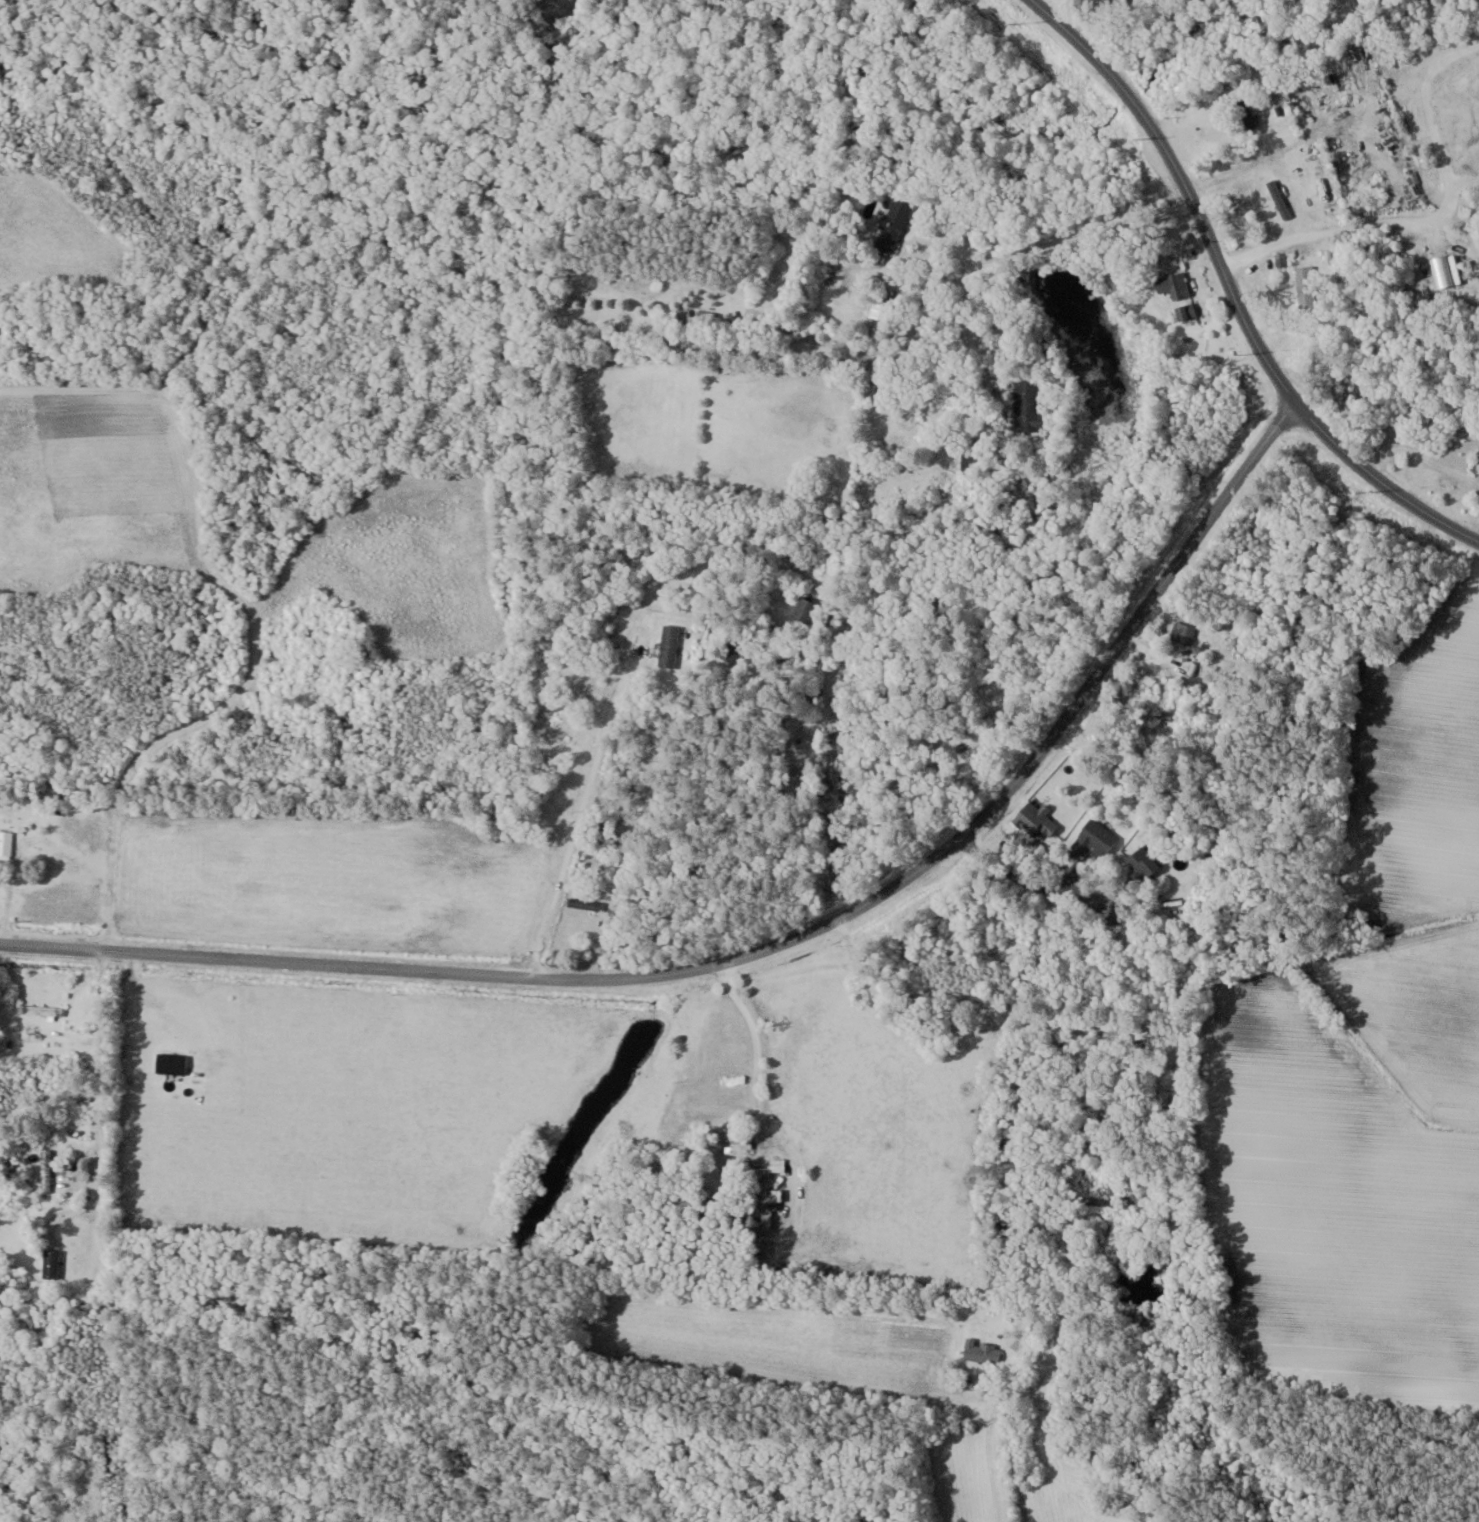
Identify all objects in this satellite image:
road: (1240, 166)
road: (1394, 217)
building: (893, 227)
road: (997, 240)
building: (1174, 286)
building: (1307, 290)
road: (1232, 292)
building: (1186, 312)
building: (683, 313)
building: (1027, 406)
building: (969, 459)
road: (1421, 459)
building: (1478, 461)
road: (1477, 538)
building: (807, 610)
building: (1183, 632)
building: (669, 644)
building: (732, 650)
road: (580, 809)
building: (1036, 821)
building: (1096, 839)
building: (6, 843)
building: (1144, 862)
road: (1033, 884)
building: (587, 904)
road: (768, 948)
building: (41, 1010)
building: (172, 1063)
road: (216, 1072)
road: (101, 1075)
road: (755, 1080)
building: (739, 1143)
building: (770, 1167)
building: (47, 1170)
road: (1017, 1184)
building: (768, 1209)
building: (52, 1264)
building: (981, 1352)

